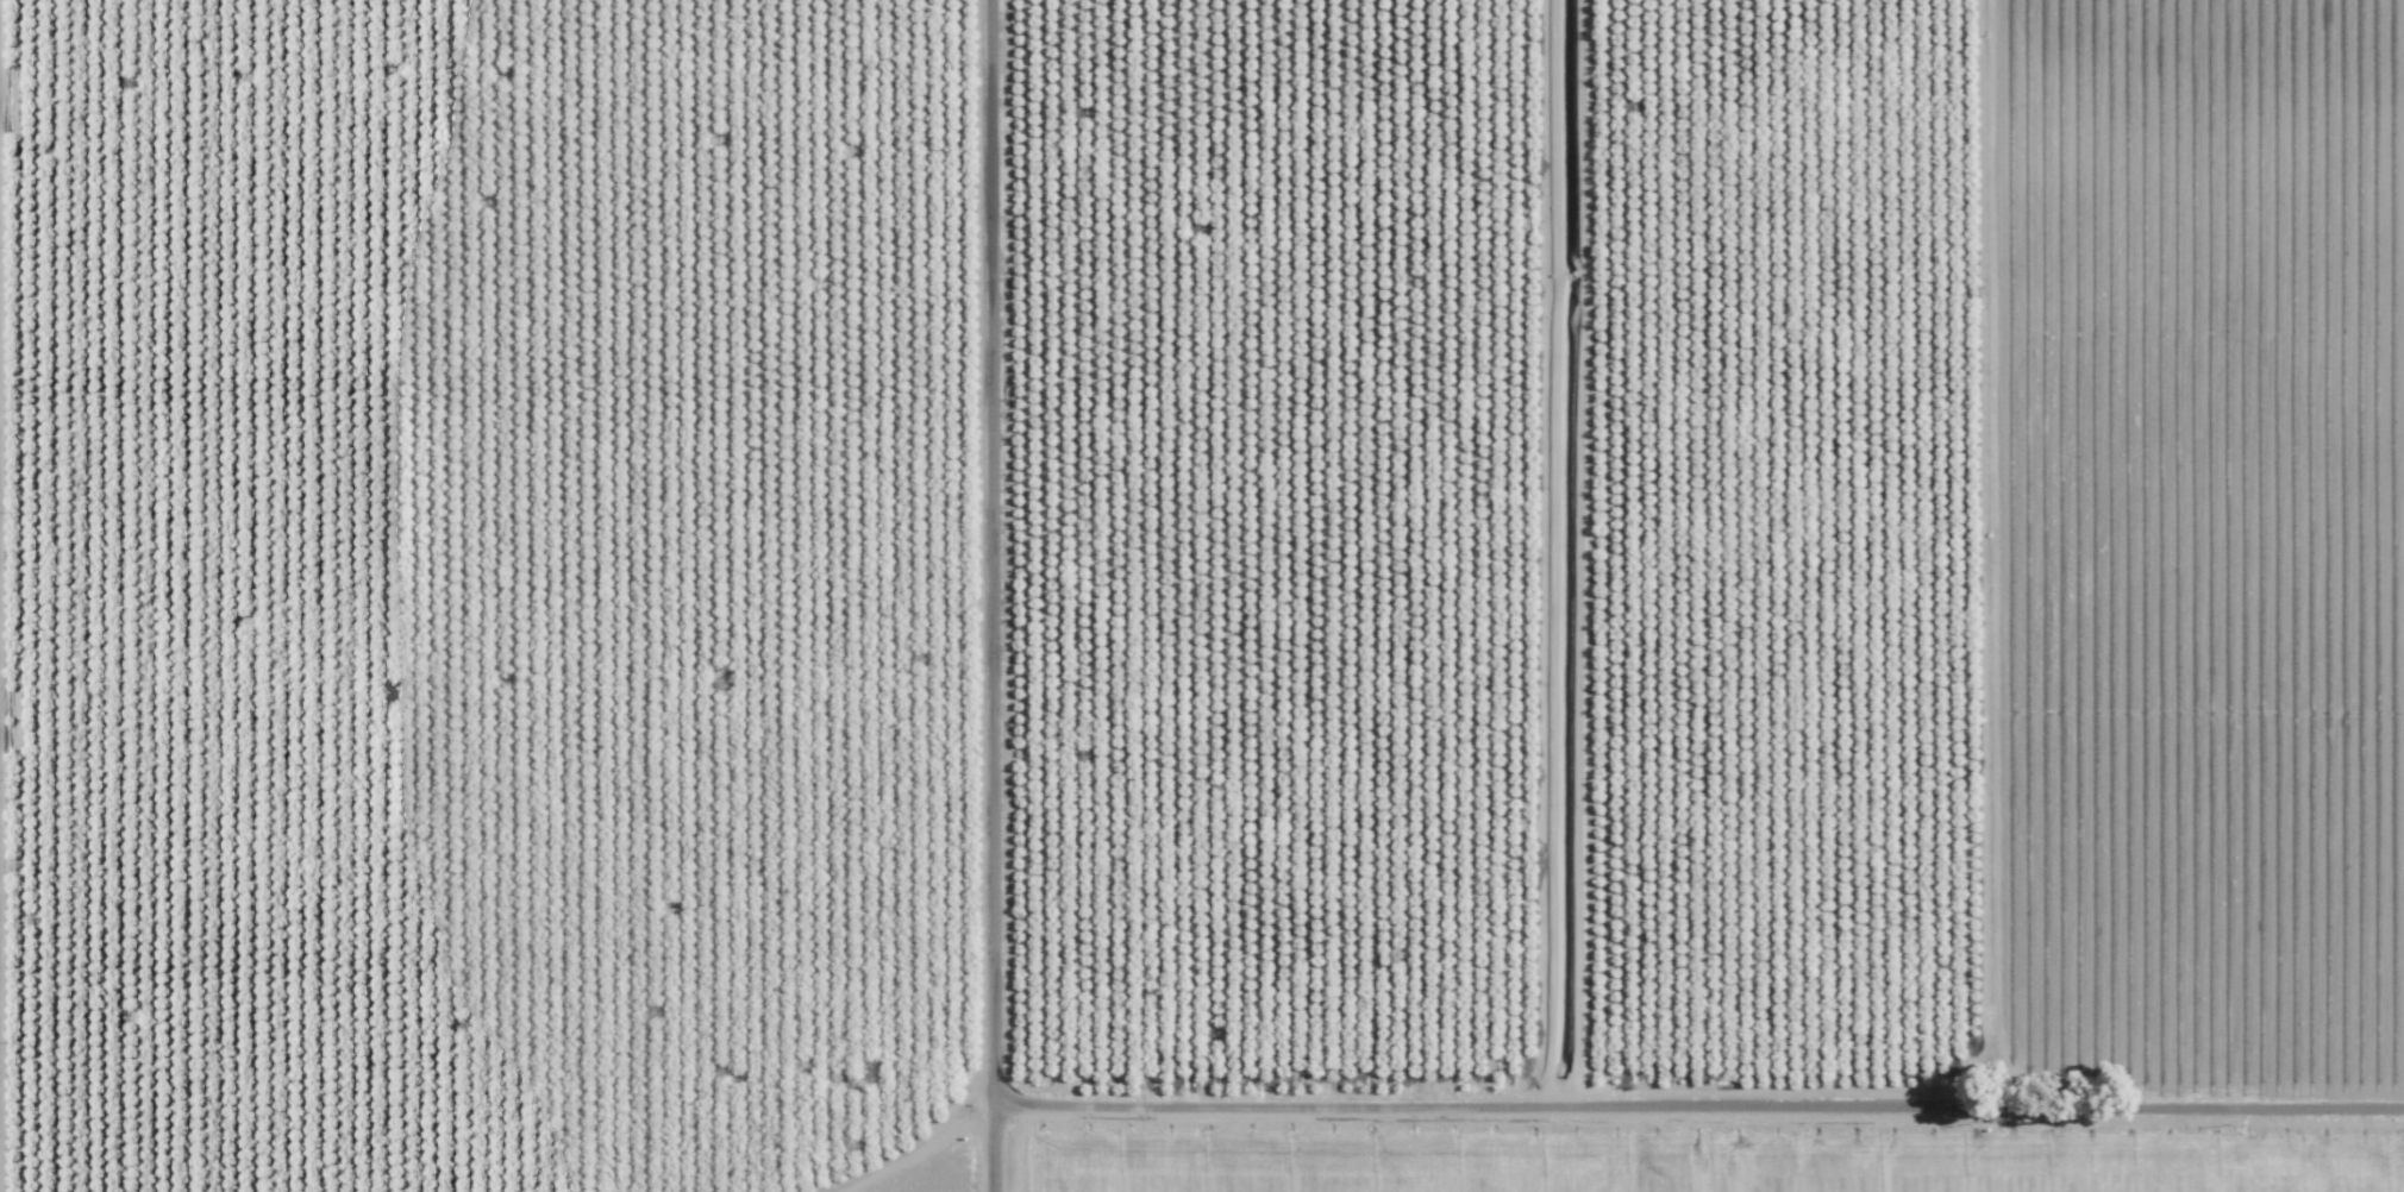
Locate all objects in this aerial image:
crop: (1498, 535)
crop: (482, 591)
road: (990, 596)
road: (1699, 1099)
crop: (1256, 1153)
crop: (1949, 1154)

